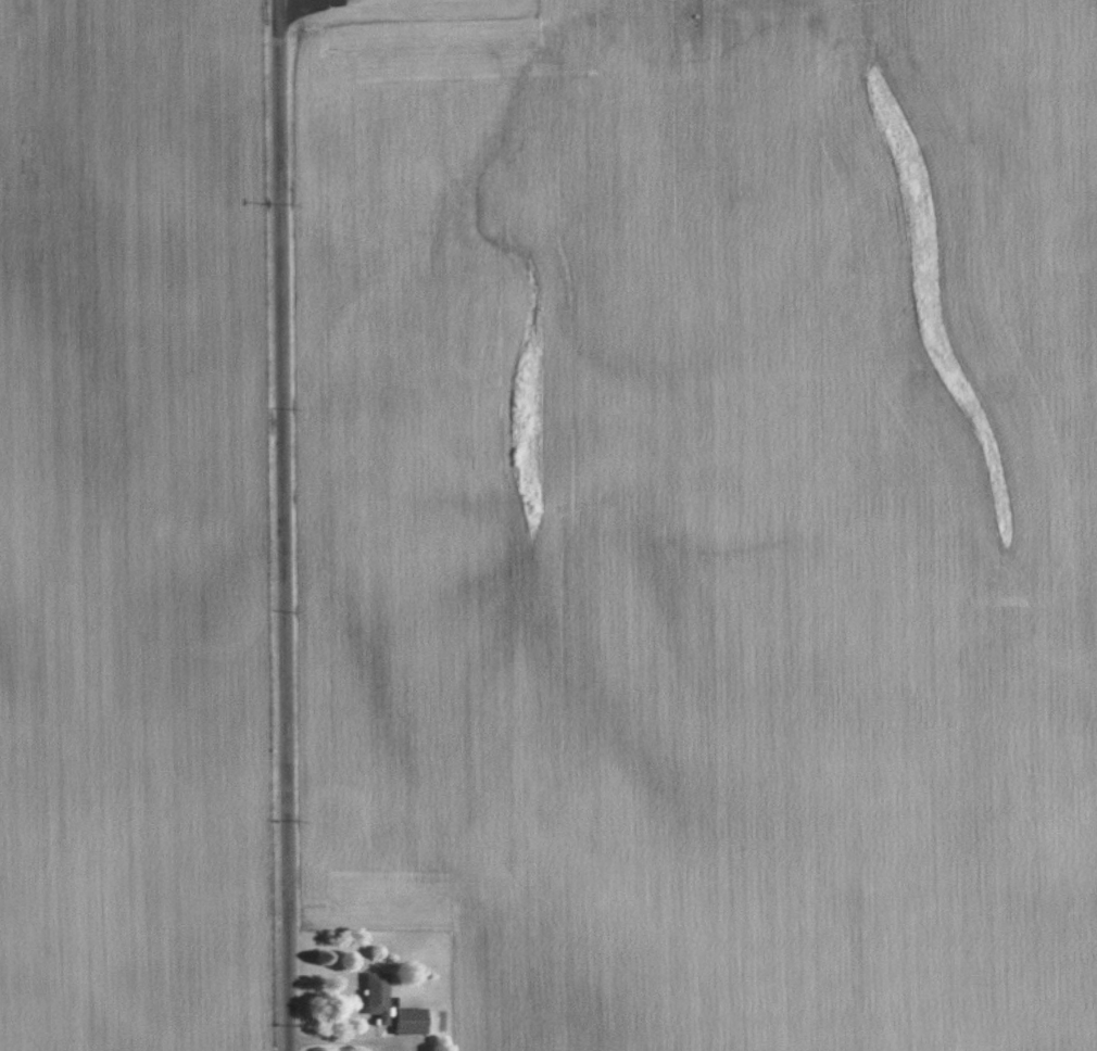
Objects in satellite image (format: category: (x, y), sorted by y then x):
road: (291, 1)
road: (282, 524)
building: (375, 995)
building: (406, 1020)

